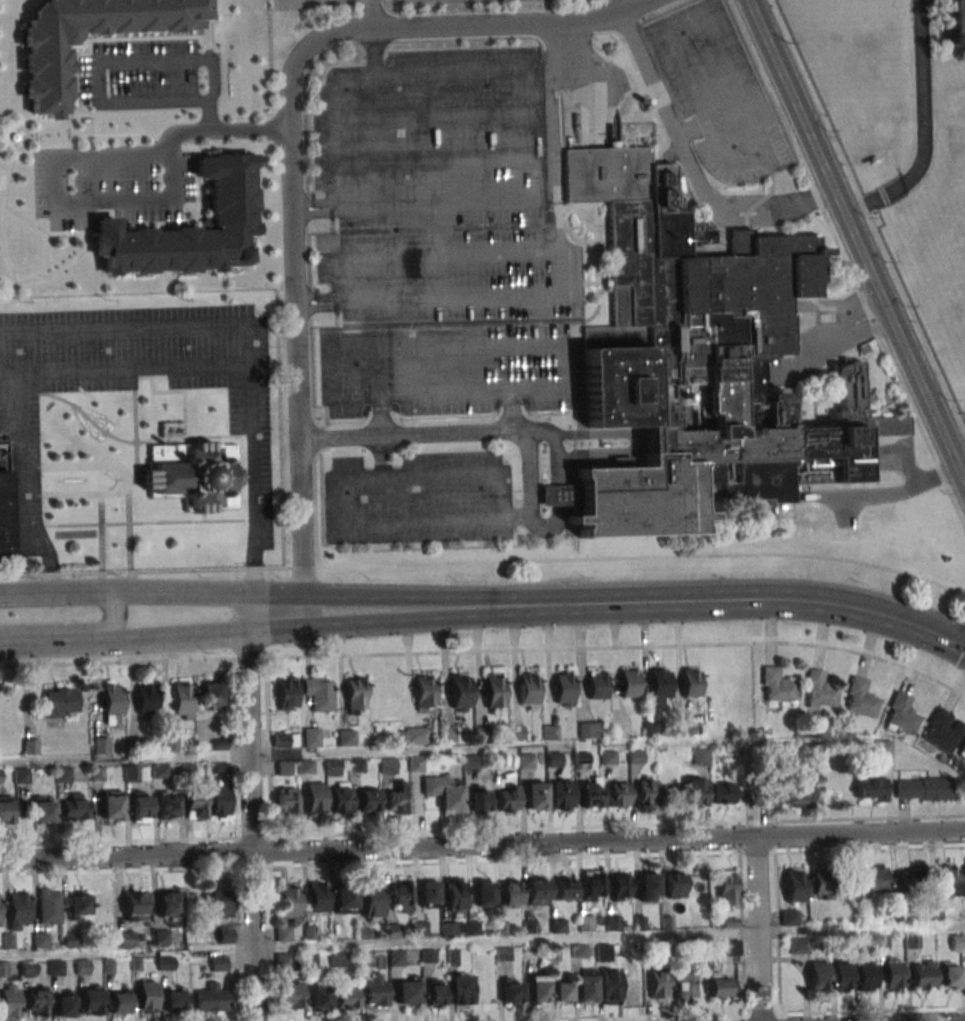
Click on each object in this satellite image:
building: (956, 22)
road: (668, 24)
road: (206, 36)
road: (88, 41)
road: (519, 67)
building: (45, 72)
parking lot: (146, 76)
parking lot: (718, 92)
road: (96, 101)
road: (796, 110)
road: (432, 116)
road: (205, 117)
road: (14, 129)
road: (690, 129)
road: (920, 129)
road: (221, 132)
road: (93, 135)
building: (13, 137)
parking lot: (431, 139)
road: (291, 142)
road: (792, 143)
road: (12, 144)
road: (21, 145)
road: (433, 160)
road: (688, 169)
road: (7, 177)
parking lot: (109, 184)
road: (62, 206)
road: (353, 209)
road: (0, 214)
building: (188, 228)
road: (437, 231)
road: (90, 247)
road: (81, 251)
road: (429, 256)
road: (560, 262)
parking lot: (447, 276)
road: (356, 303)
road: (874, 304)
road: (350, 327)
road: (244, 339)
road: (824, 342)
road: (906, 353)
building: (698, 362)
parking lot: (444, 369)
road: (123, 370)
road: (150, 377)
parking lot: (133, 387)
road: (182, 392)
road: (327, 397)
road: (910, 408)
road: (511, 413)
road: (379, 416)
road: (91, 423)
road: (951, 423)
road: (527, 431)
road: (9, 432)
road: (134, 434)
road: (407, 435)
road: (522, 436)
road: (197, 438)
road: (632, 444)
parking lot: (3, 456)
road: (380, 458)
road: (1, 463)
road: (900, 463)
building: (193, 476)
road: (908, 476)
road: (122, 480)
road: (132, 480)
road: (332, 481)
road: (21, 488)
road: (878, 497)
parking lot: (417, 499)
road: (845, 512)
road: (554, 513)
building: (5, 516)
road: (516, 518)
road: (145, 523)
road: (130, 525)
road: (101, 532)
road: (643, 557)
road: (156, 570)
road: (50, 593)
road: (317, 595)
road: (752, 600)
road: (266, 623)
road: (74, 629)
building: (629, 683)
building: (691, 683)
building: (660, 685)
building: (777, 685)
building: (598, 686)
building: (564, 687)
building: (821, 689)
building: (529, 690)
building: (494, 692)
building: (287, 693)
building: (318, 693)
building: (460, 693)
building: (210, 694)
building: (424, 694)
building: (355, 695)
building: (860, 697)
building: (182, 700)
building: (146, 701)
building: (60, 703)
building: (112, 704)
building: (902, 713)
building: (682, 728)
building: (649, 729)
building: (589, 730)
building: (942, 730)
building: (550, 732)
building: (516, 733)
building: (482, 734)
building: (417, 736)
building: (447, 736)
building: (310, 737)
building: (346, 737)
building: (280, 740)
building: (100, 744)
road: (443, 748)
building: (884, 748)
building: (962, 748)
building: (701, 756)
building: (580, 760)
building: (526, 761)
building: (415, 764)
building: (387, 765)
building: (305, 767)
building: (332, 767)
building: (284, 768)
building: (131, 773)
building: (0, 776)
building: (871, 788)
road: (753, 789)
building: (924, 789)
building: (646, 791)
building: (696, 791)
building: (444, 793)
building: (591, 793)
building: (562, 794)
building: (618, 794)
building: (724, 794)
building: (786, 794)
building: (535, 796)
building: (340, 797)
building: (479, 798)
building: (507, 798)
building: (286, 800)
building: (314, 800)
building: (397, 800)
building: (368, 801)
building: (195, 803)
building: (219, 803)
building: (111, 806)
building: (167, 806)
building: (75, 808)
building: (141, 808)
road: (249, 808)
building: (43, 810)
building: (5, 812)
road: (482, 846)
building: (877, 879)
building: (913, 879)
building: (949, 880)
building: (964, 882)
building: (593, 883)
building: (649, 885)
building: (676, 885)
building: (823, 885)
building: (565, 886)
building: (622, 886)
building: (796, 887)
building: (537, 889)
building: (727, 889)
building: (455, 893)
building: (484, 893)
building: (511, 893)
building: (428, 894)
building: (400, 896)
building: (317, 897)
building: (344, 901)
building: (289, 902)
building: (372, 902)
building: (167, 903)
building: (219, 903)
building: (49, 905)
building: (78, 906)
building: (137, 906)
building: (18, 911)
building: (789, 917)
building: (585, 923)
building: (559, 926)
building: (420, 928)
building: (448, 929)
road: (757, 929)
building: (283, 933)
building: (364, 933)
road: (608, 935)
building: (69, 939)
building: (8, 940)
building: (40, 940)
building: (912, 940)
building: (798, 945)
building: (730, 946)
building: (603, 952)
road: (62, 953)
building: (504, 954)
building: (428, 956)
building: (452, 957)
building: (395, 958)
building: (337, 959)
building: (364, 959)
building: (706, 959)
building: (283, 961)
building: (27, 967)
building: (894, 973)
building: (951, 975)
building: (818, 976)
building: (843, 976)
building: (924, 976)
building: (867, 977)
building: (634, 983)
building: (658, 983)
building: (610, 984)
building: (719, 985)
building: (682, 987)
building: (586, 988)
building: (538, 989)
building: (376, 990)
building: (408, 990)
building: (461, 991)
building: (511, 991)
building: (437, 992)
building: (562, 992)
building: (290, 995)
building: (346, 995)
building: (147, 996)
building: (211, 997)
building: (320, 998)
building: (174, 999)
building: (10, 1000)
building: (120, 1000)
building: (91, 1001)
building: (36, 1002)
building: (64, 1003)

